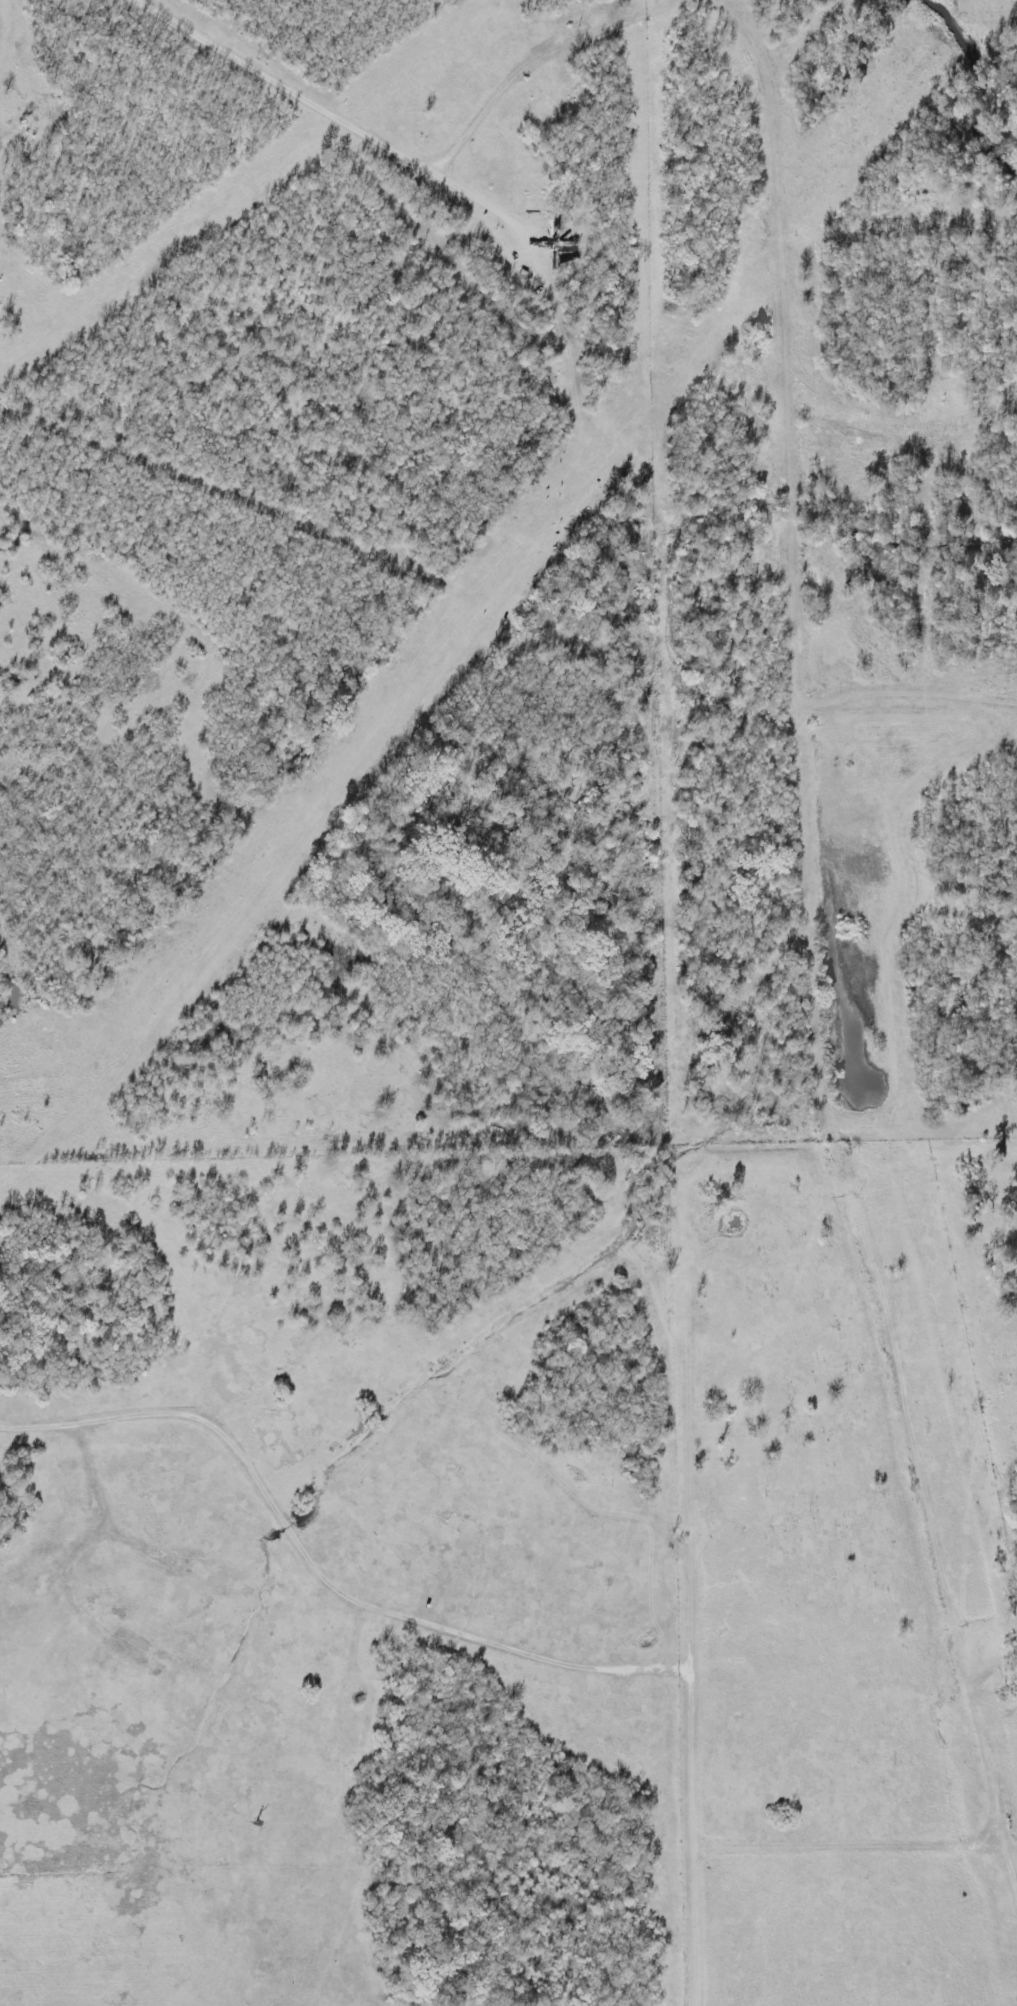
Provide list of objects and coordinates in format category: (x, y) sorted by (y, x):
river: (979, 65)
road: (341, 117)
road: (319, 1572)
road: (694, 1839)

